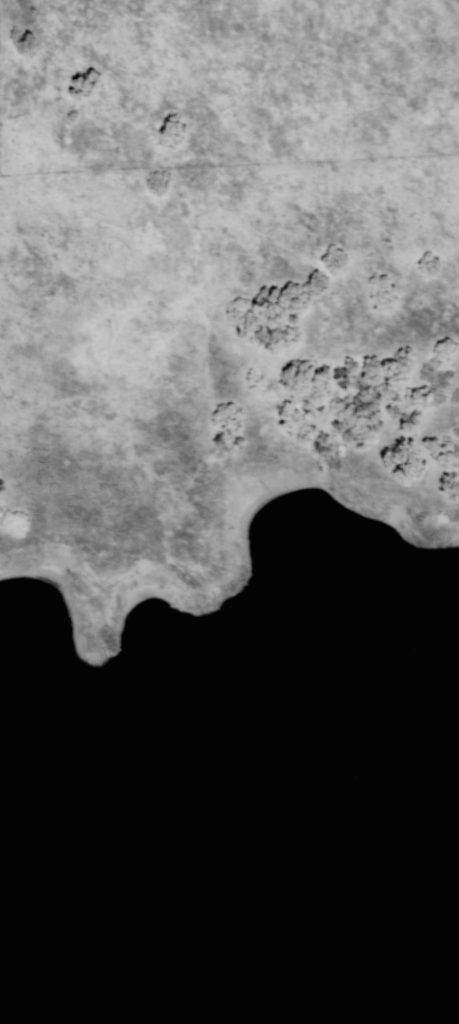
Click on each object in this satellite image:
river: (422, 650)
river: (185, 717)

